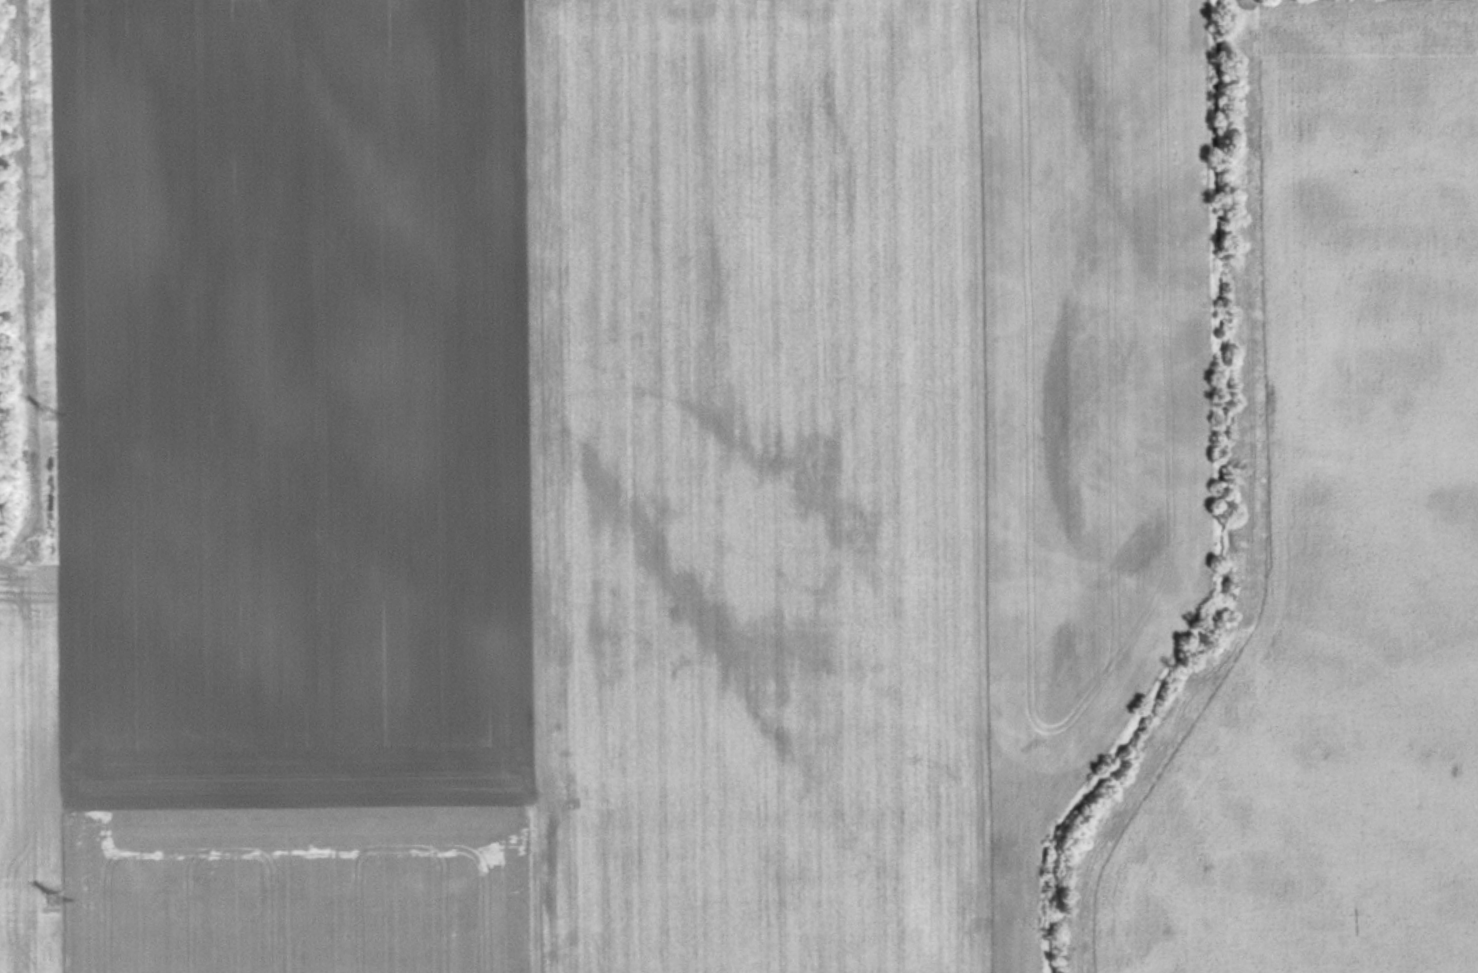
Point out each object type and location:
power tower: (51, 416)
power tower: (56, 903)

